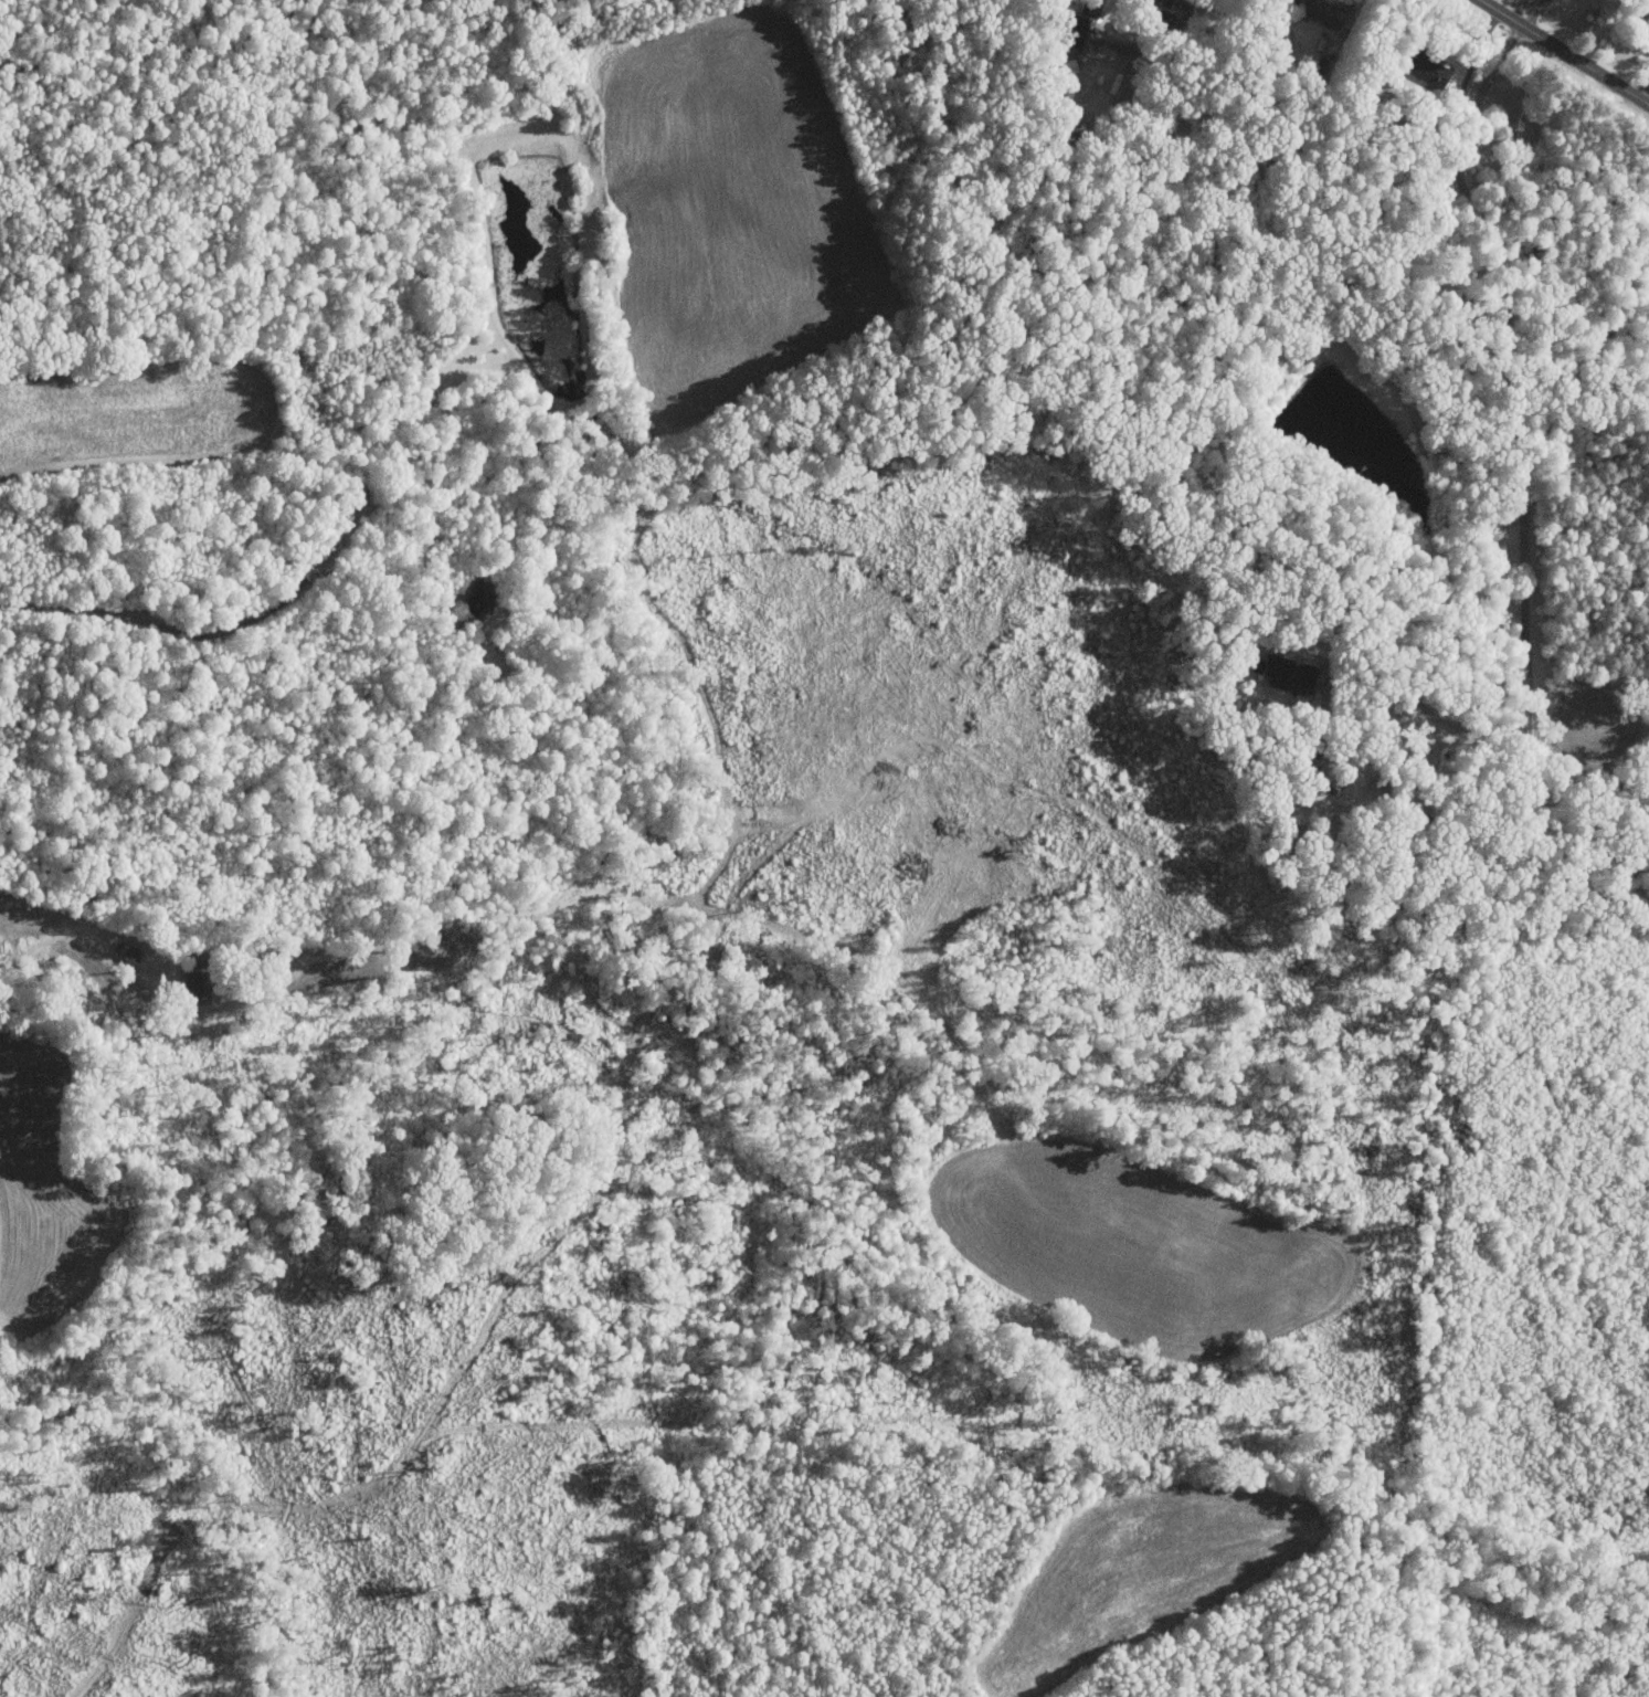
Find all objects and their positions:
road: (1534, 14)
road: (1164, 39)
road: (1564, 52)
road: (1470, 67)
road: (1643, 89)
road: (1522, 540)
building: (1287, 676)
building: (131, 951)

